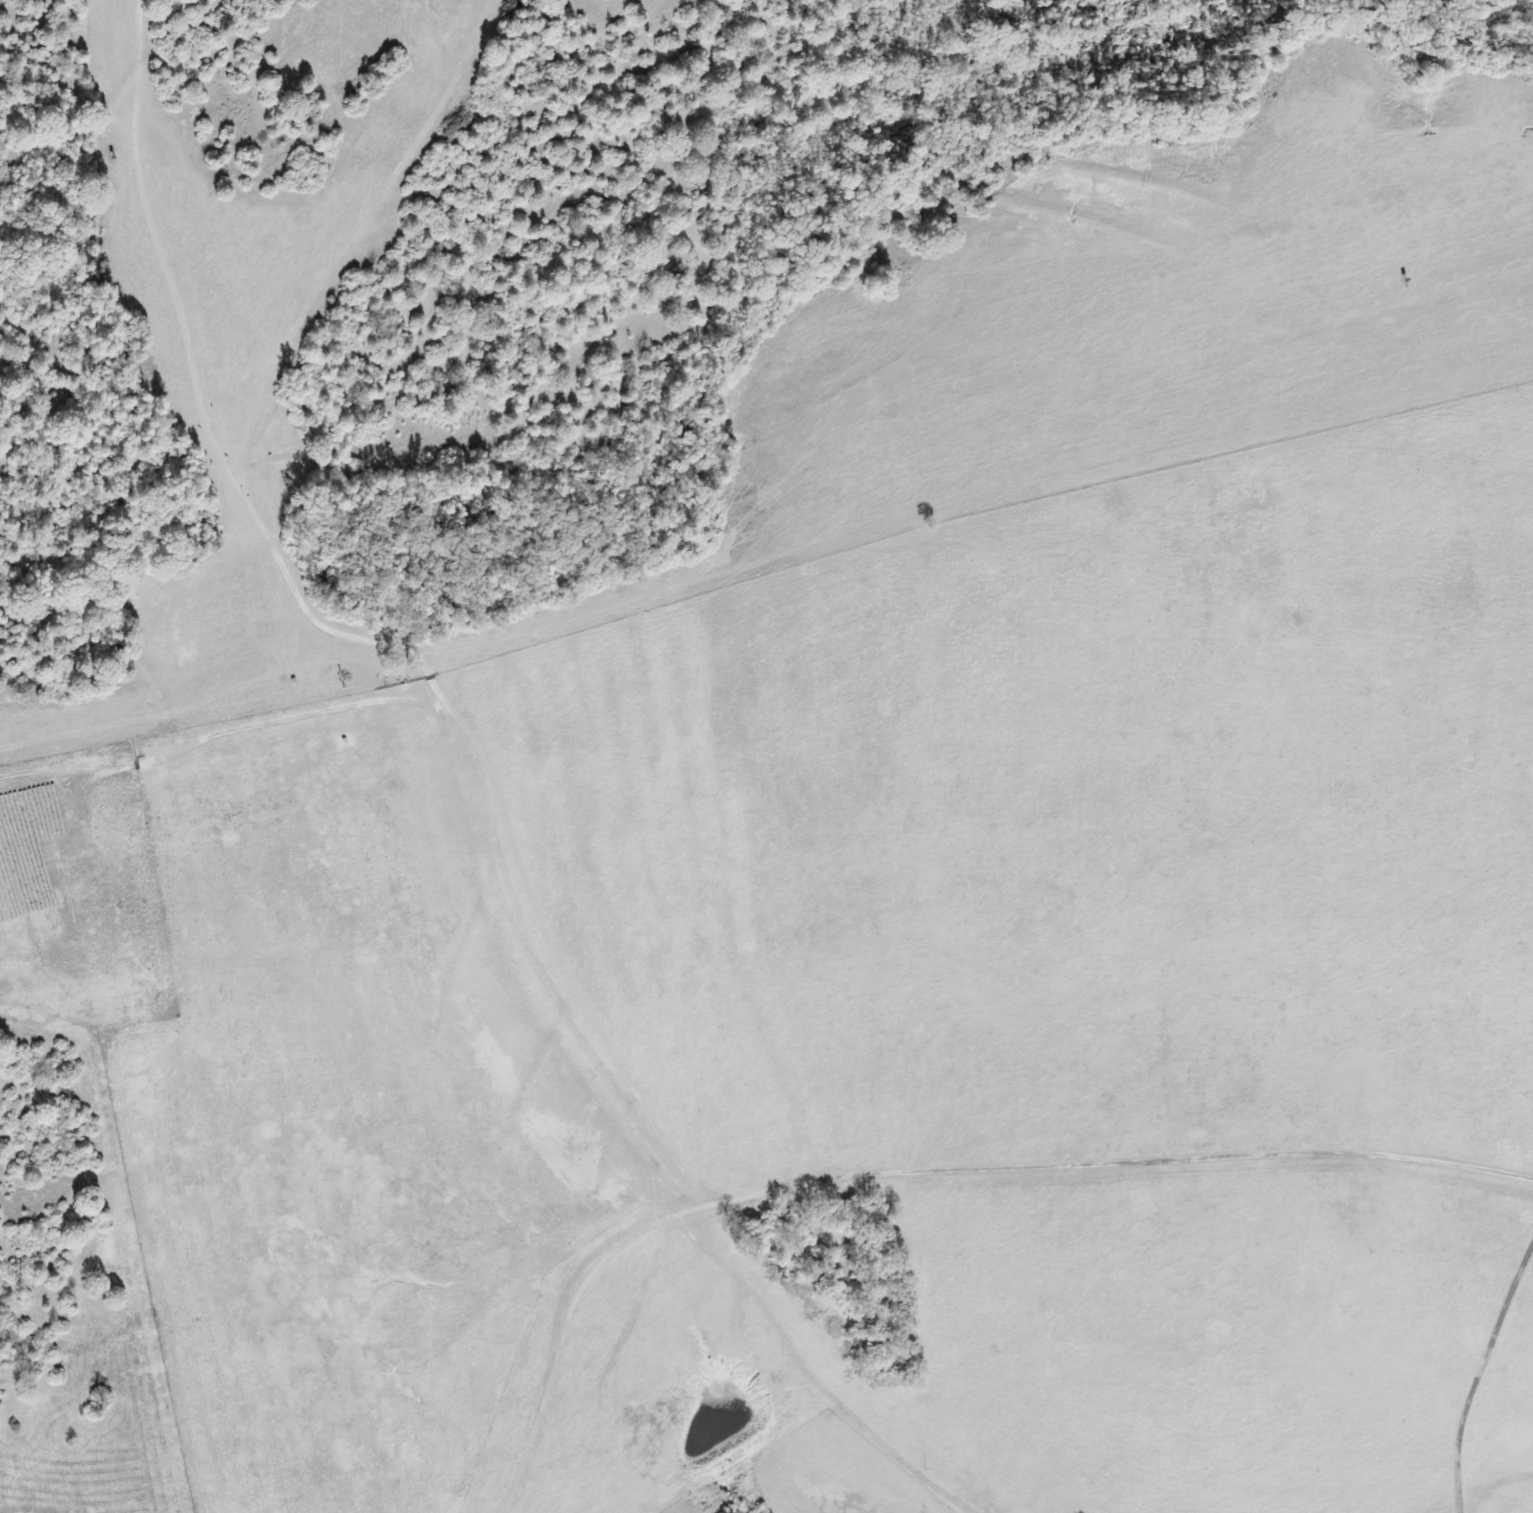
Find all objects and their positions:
road: (536, 1319)
road: (815, 1343)
road: (1491, 1451)
road: (1412, 1496)

